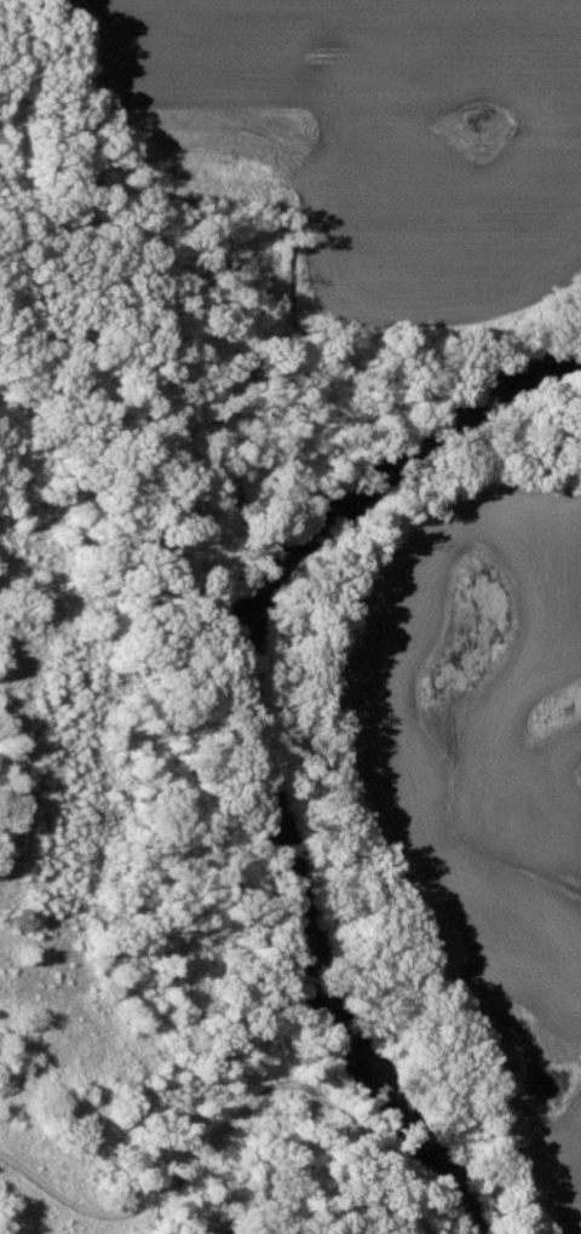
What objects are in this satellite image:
river: (272, 719)

